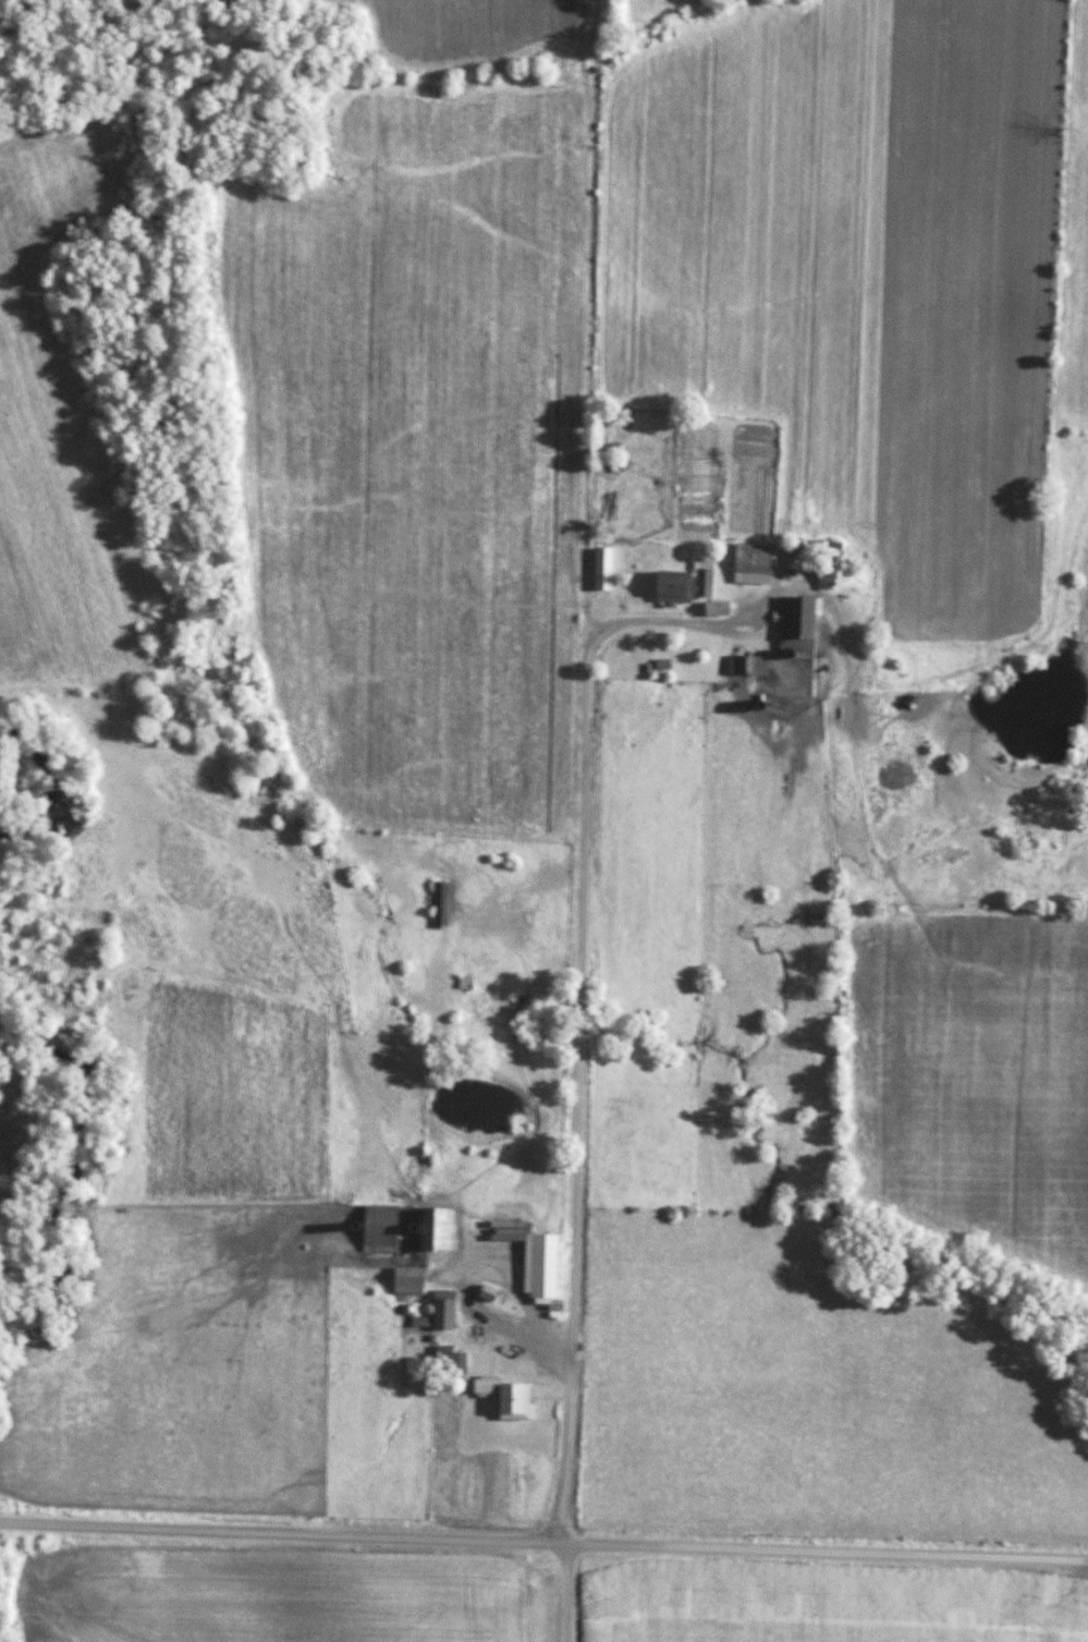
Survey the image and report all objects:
building: (751, 567)
building: (827, 575)
building: (684, 584)
building: (717, 608)
building: (796, 619)
road: (692, 623)
building: (747, 666)
road: (587, 820)
building: (441, 904)
building: (470, 1163)
building: (379, 1228)
building: (437, 1228)
building: (540, 1270)
building: (408, 1280)
building: (488, 1291)
road: (516, 1293)
building: (444, 1307)
building: (485, 1355)
building: (439, 1360)
road: (543, 1543)

